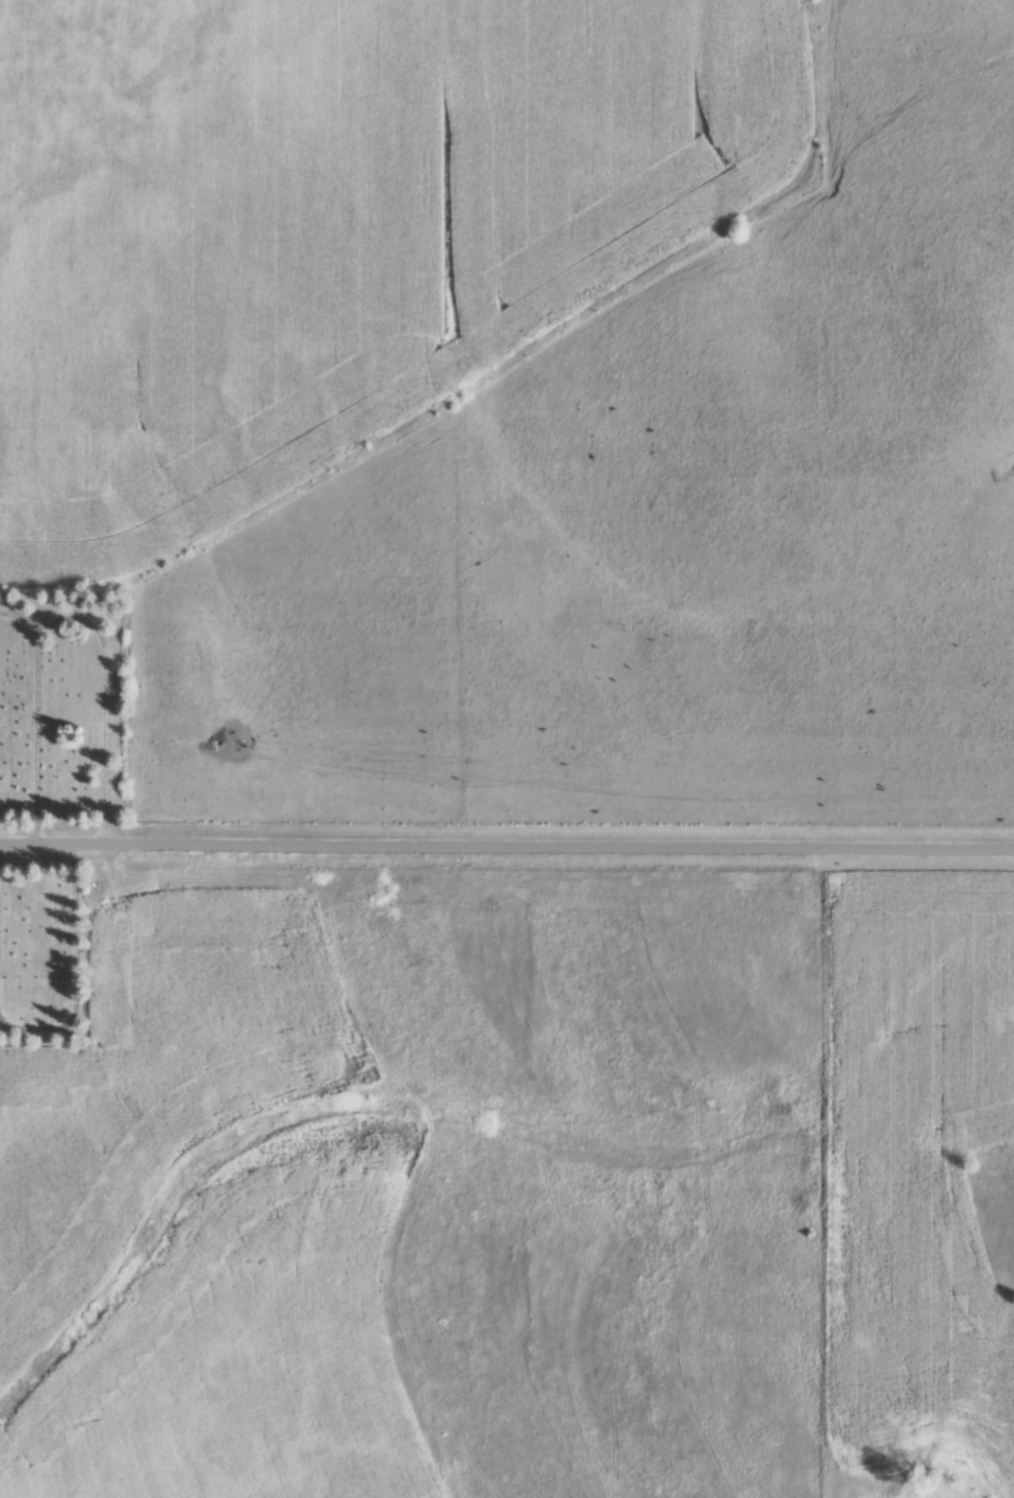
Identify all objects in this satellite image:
road: (101, 685)
road: (31, 730)
road: (507, 843)

